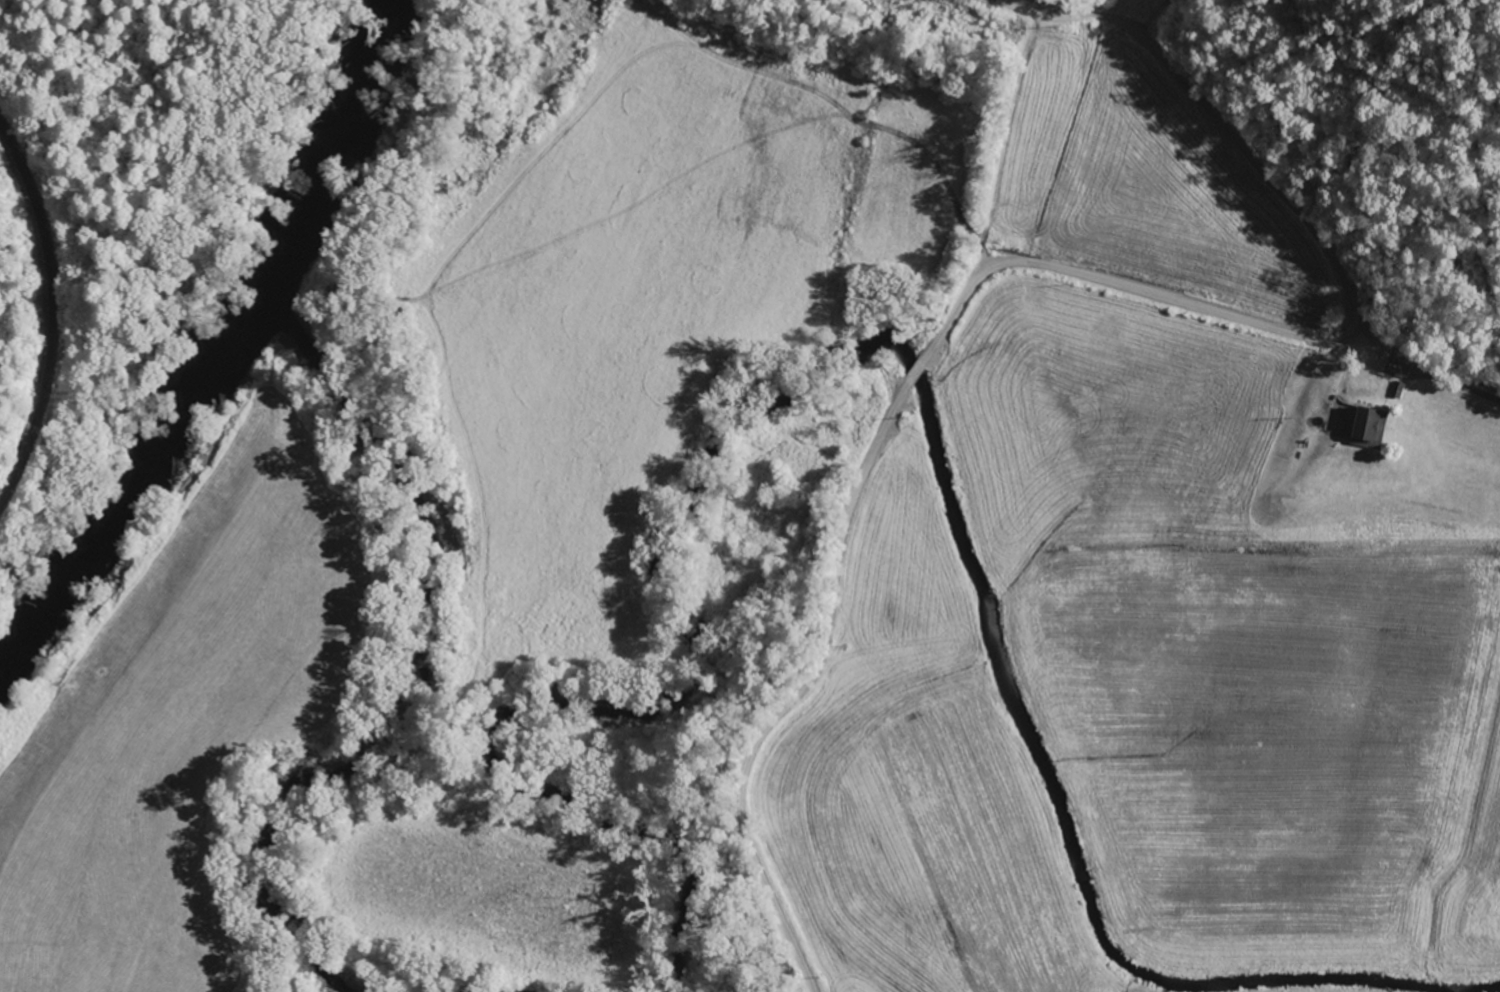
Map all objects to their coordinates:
road: (1040, 263)
railway: (50, 315)
road: (1428, 335)
river: (231, 357)

